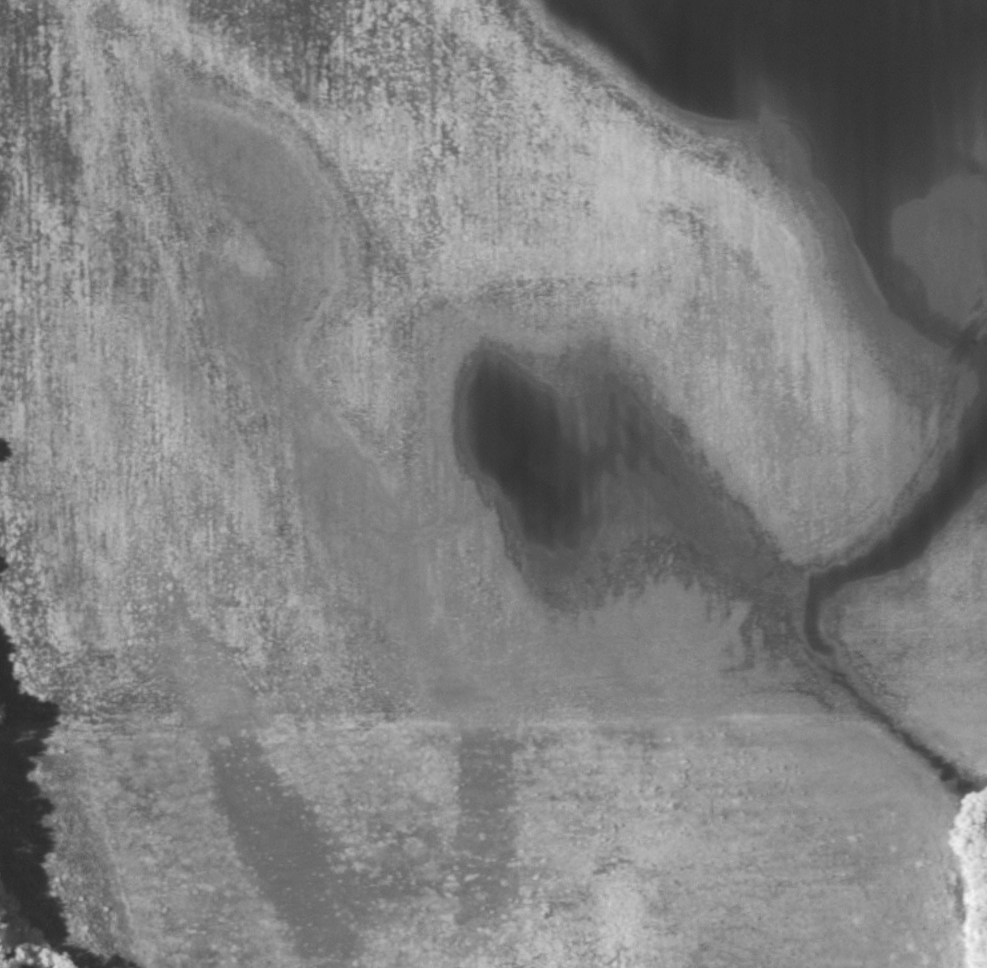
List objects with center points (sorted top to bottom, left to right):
road: (946, 757)

